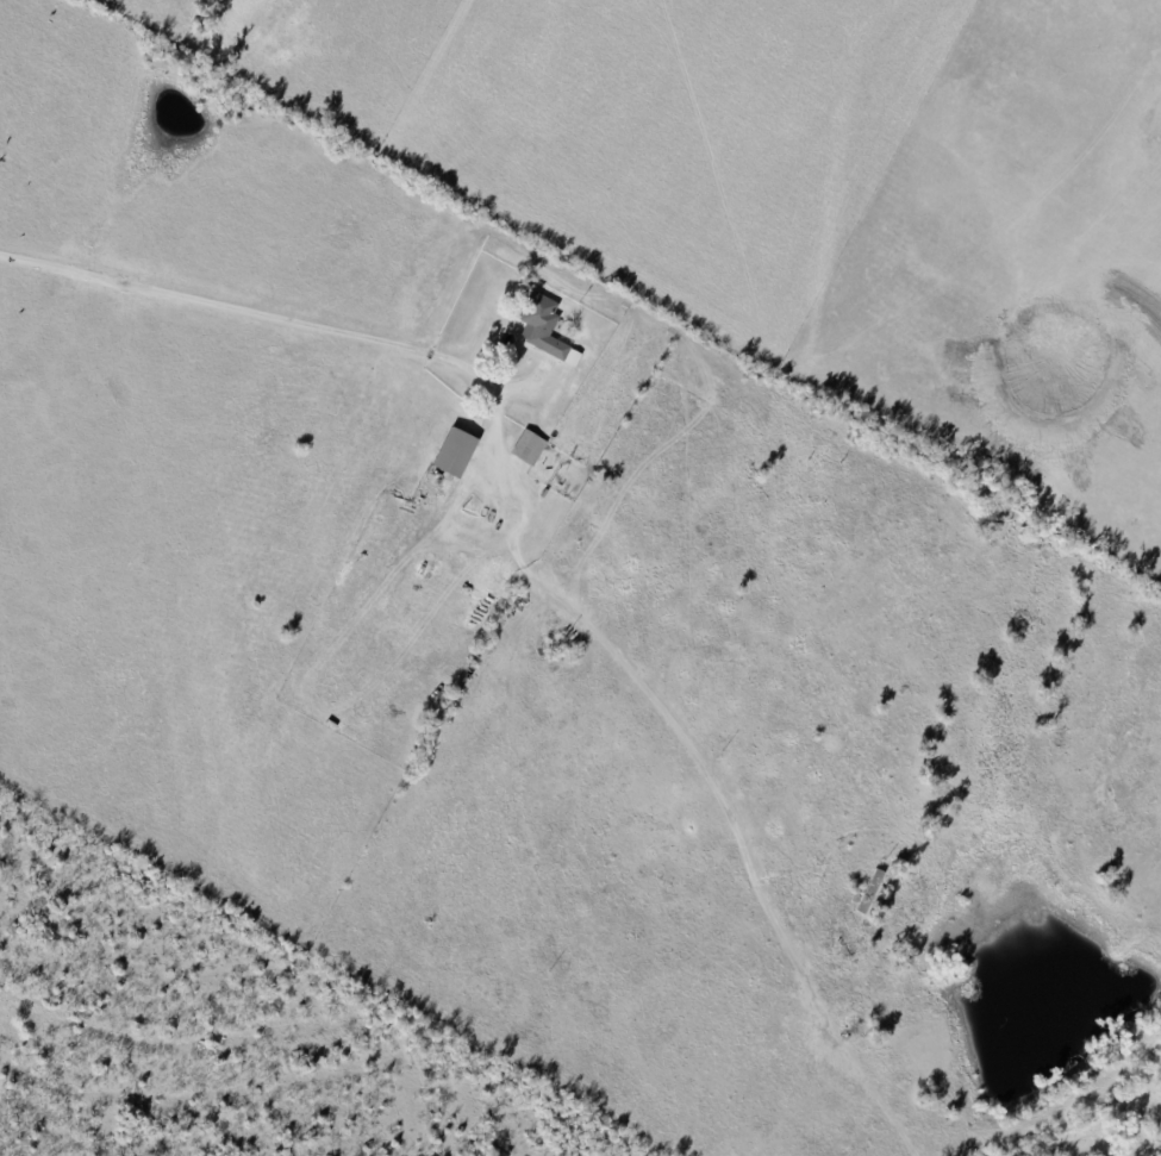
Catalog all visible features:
road: (299, 320)
building: (547, 326)
building: (530, 445)
building: (458, 449)

